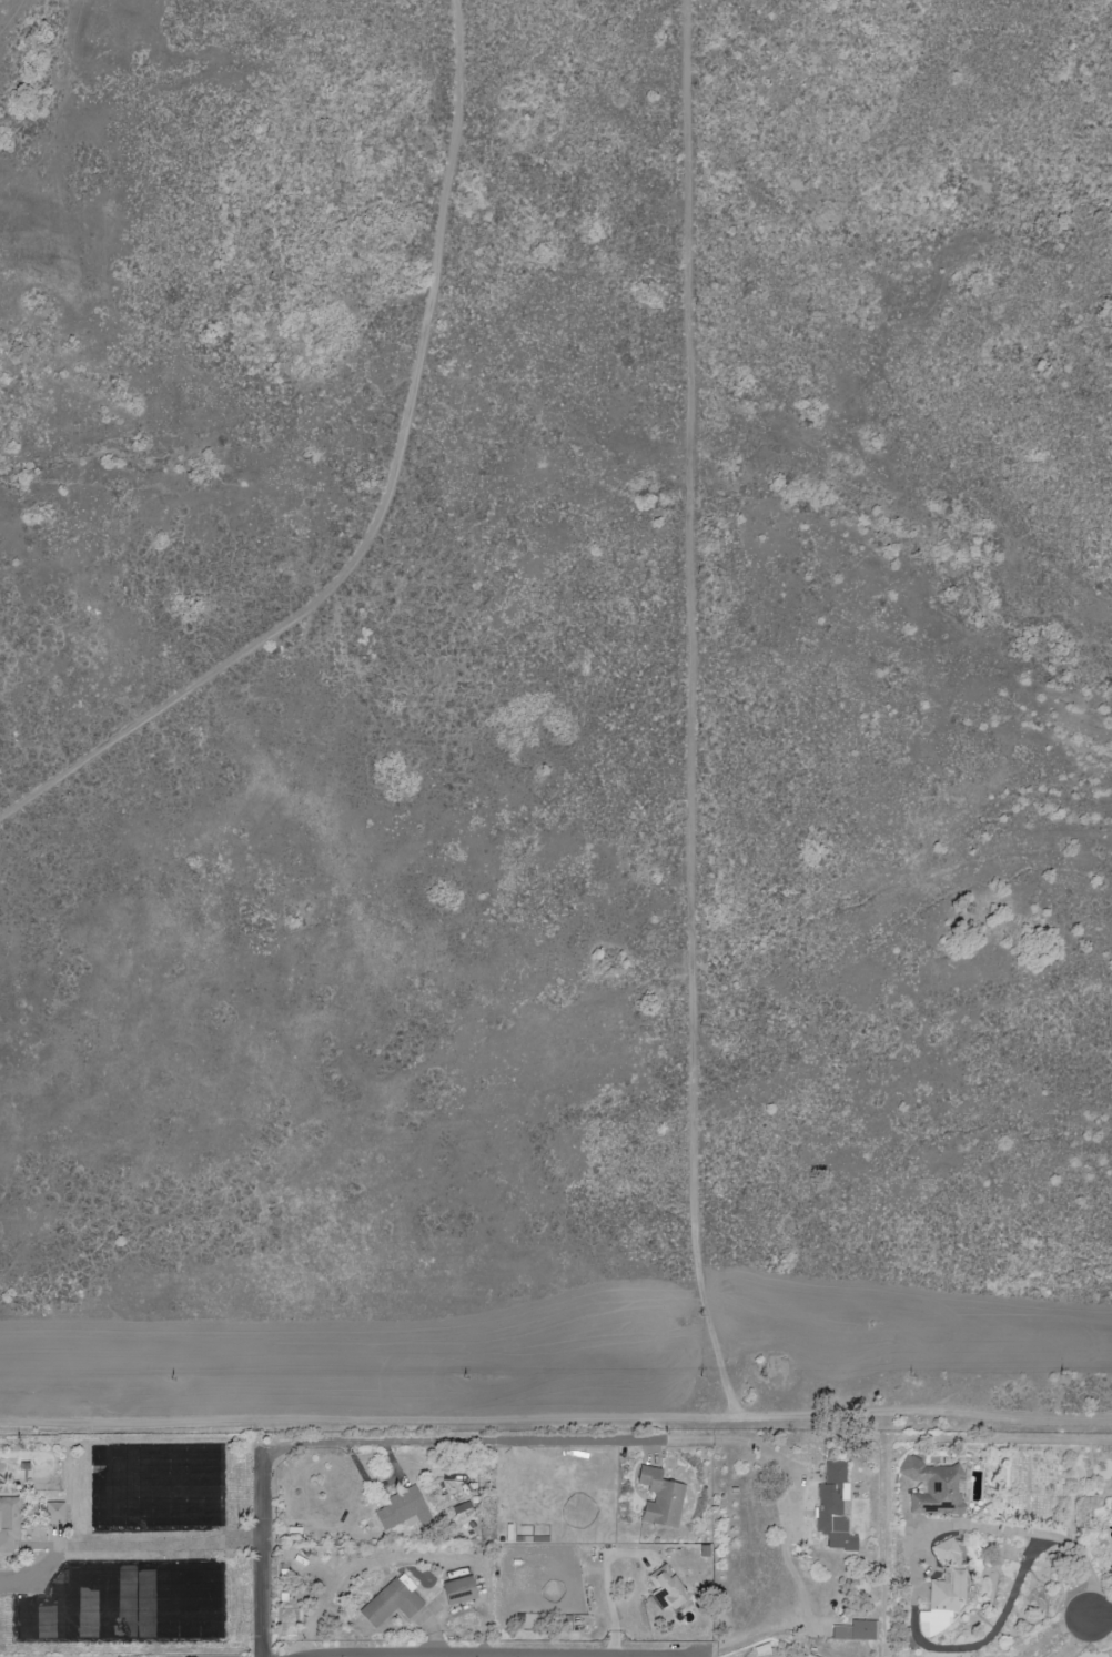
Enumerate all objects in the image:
road: (556, 1421)
road: (547, 1441)
building: (936, 1487)
building: (659, 1497)
building: (401, 1508)
building: (833, 1508)
road: (1050, 1537)
road: (164, 1545)
road: (265, 1556)
building: (1111, 1563)
building: (666, 1587)
building: (461, 1590)
building: (943, 1590)
building: (392, 1603)
road: (1099, 1617)
road: (808, 1623)
building: (855, 1630)
road: (990, 1635)
road: (368, 1656)
road: (466, 1656)
road: (499, 1656)

